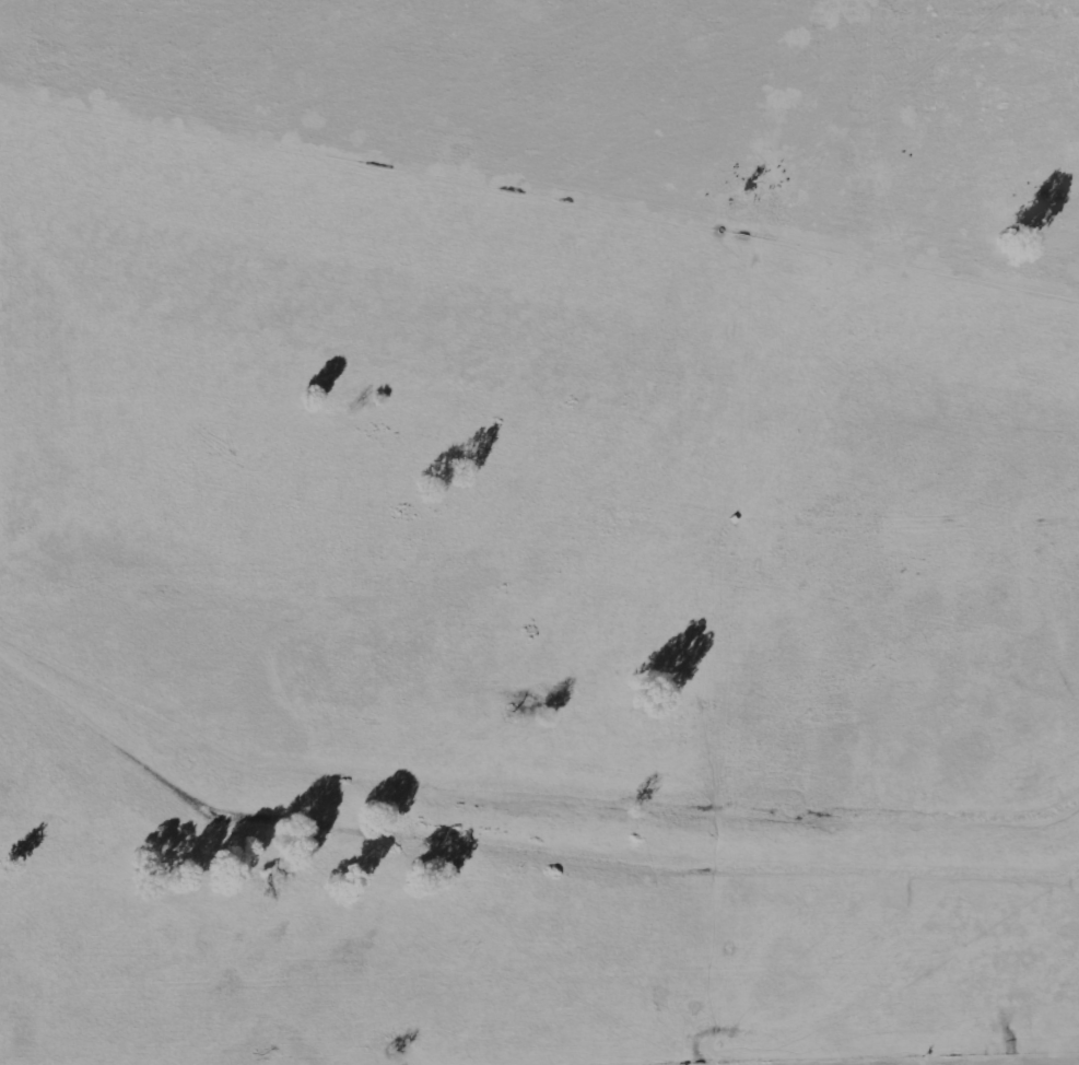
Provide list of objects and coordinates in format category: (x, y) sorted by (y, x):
road: (213, 546)

